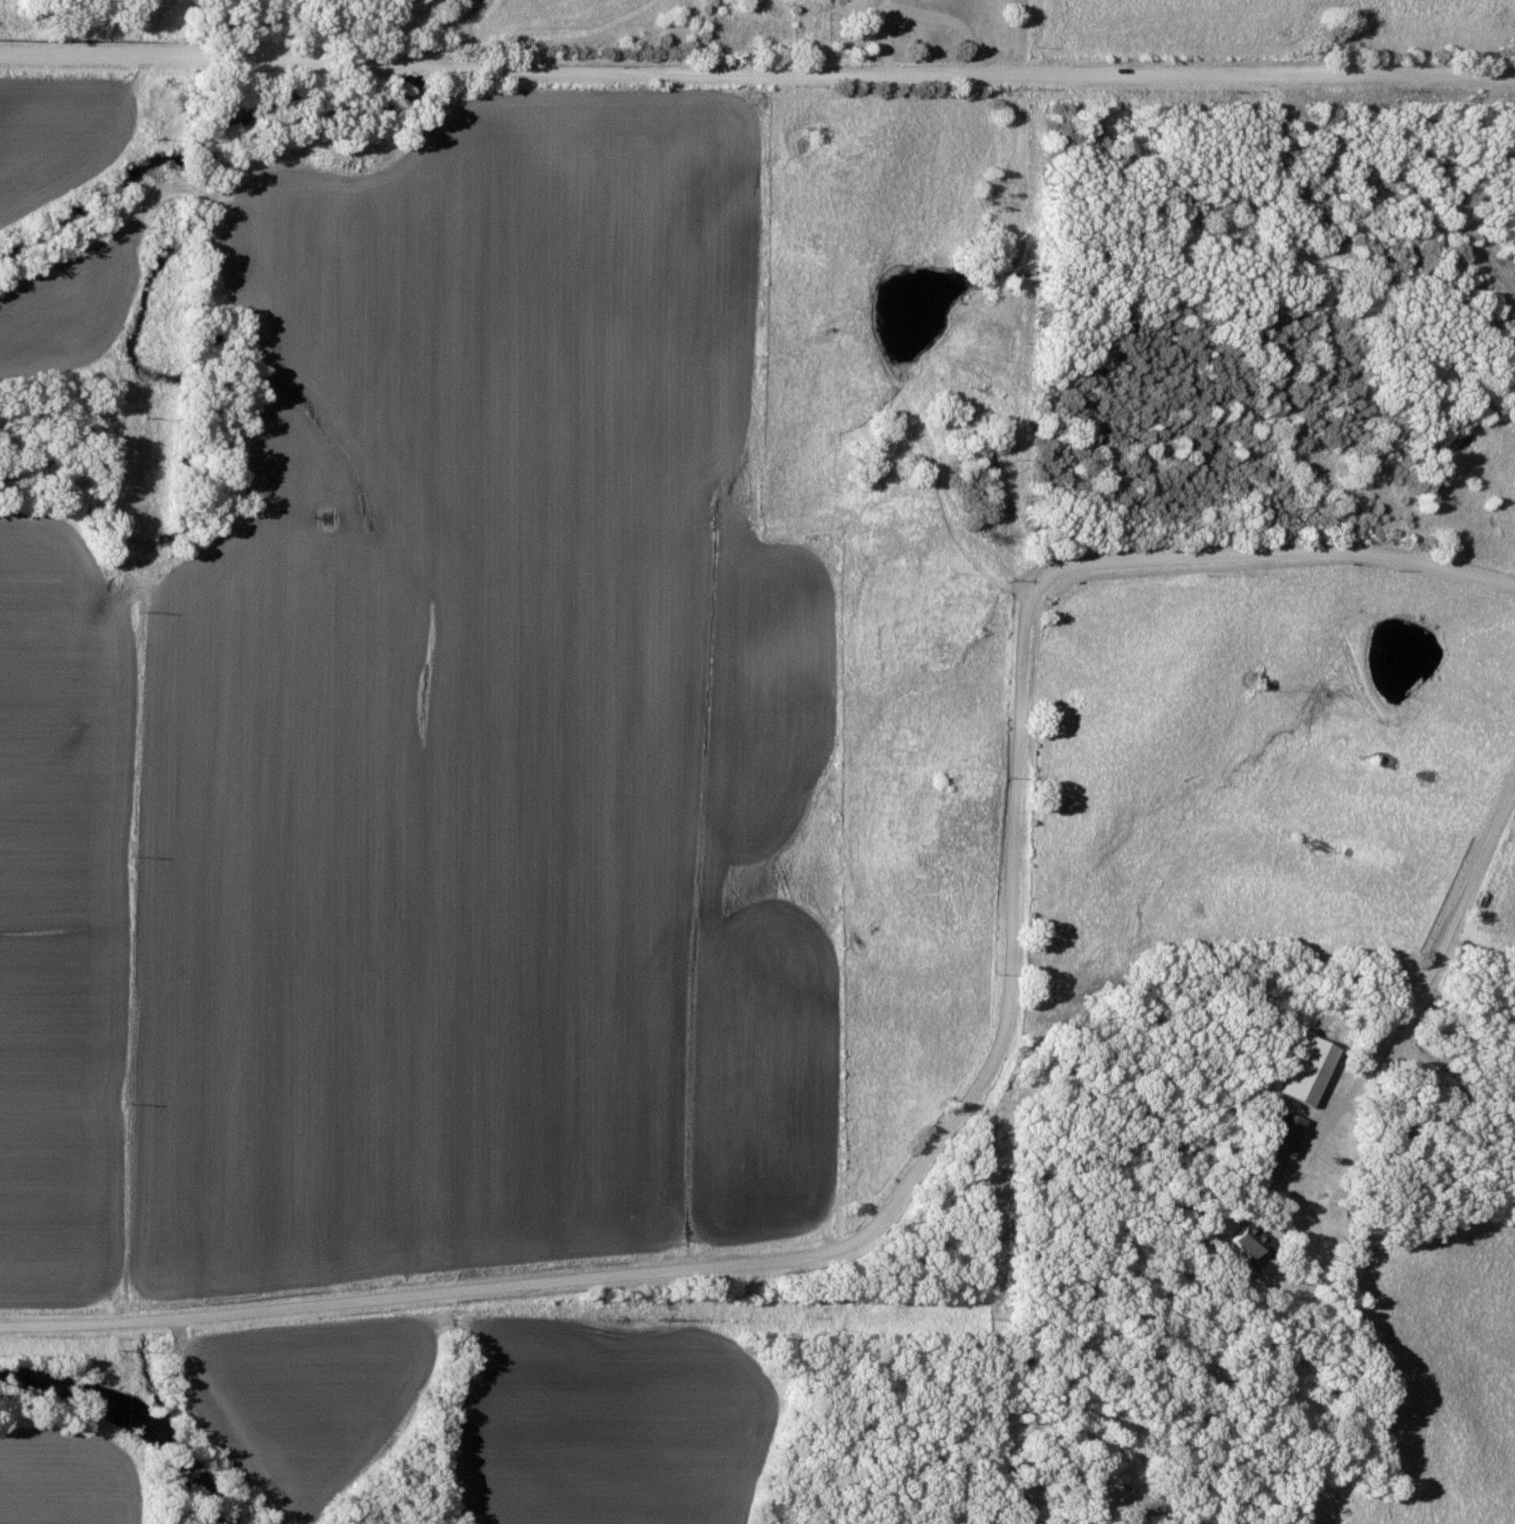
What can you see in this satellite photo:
river: (434, 26)
river: (413, 64)
road: (757, 73)
river: (202, 161)
road: (1420, 975)
road: (964, 1115)
building: (1281, 1134)
building: (1239, 1238)
river: (147, 1401)

